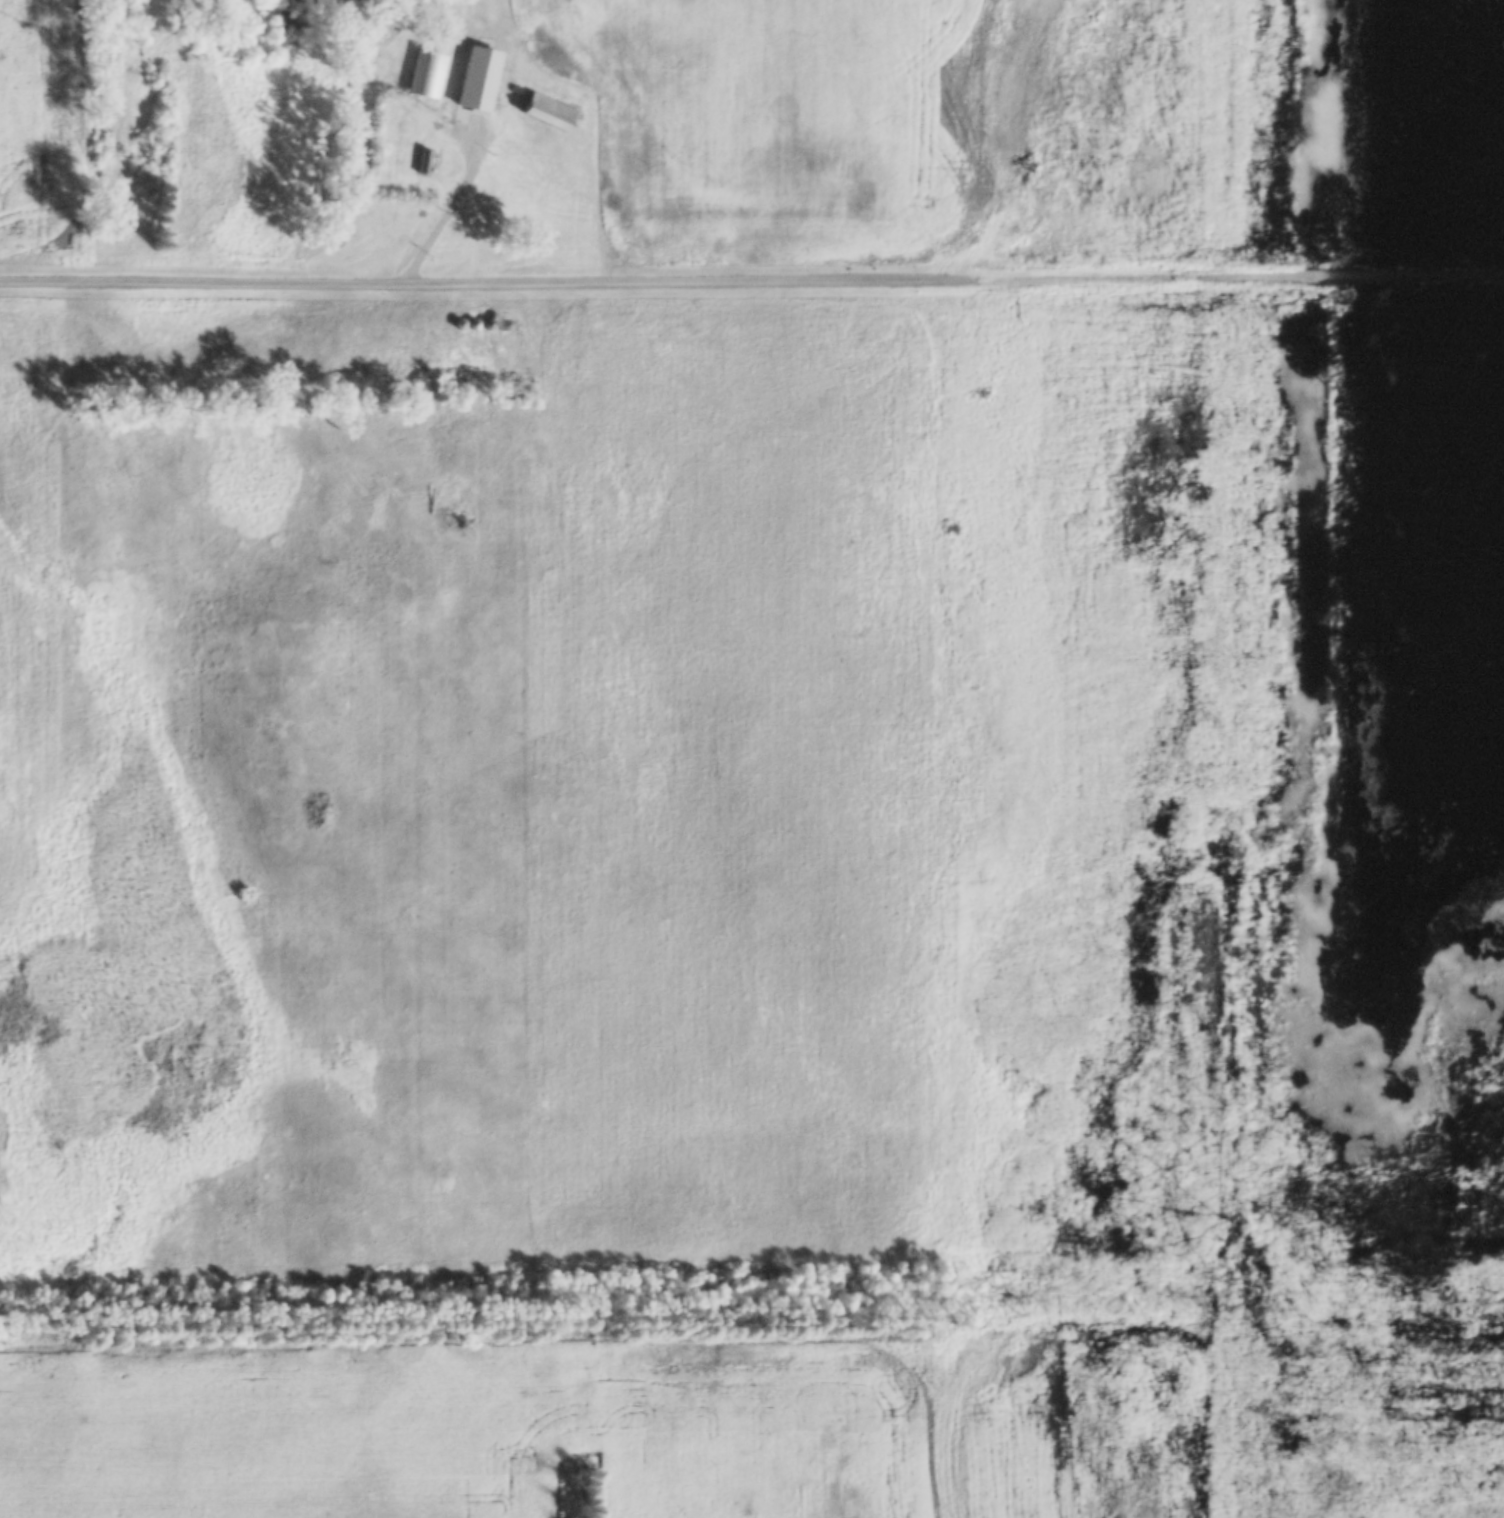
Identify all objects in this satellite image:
building: (427, 72)
building: (471, 101)
building: (551, 109)
road: (856, 282)
road: (198, 285)

